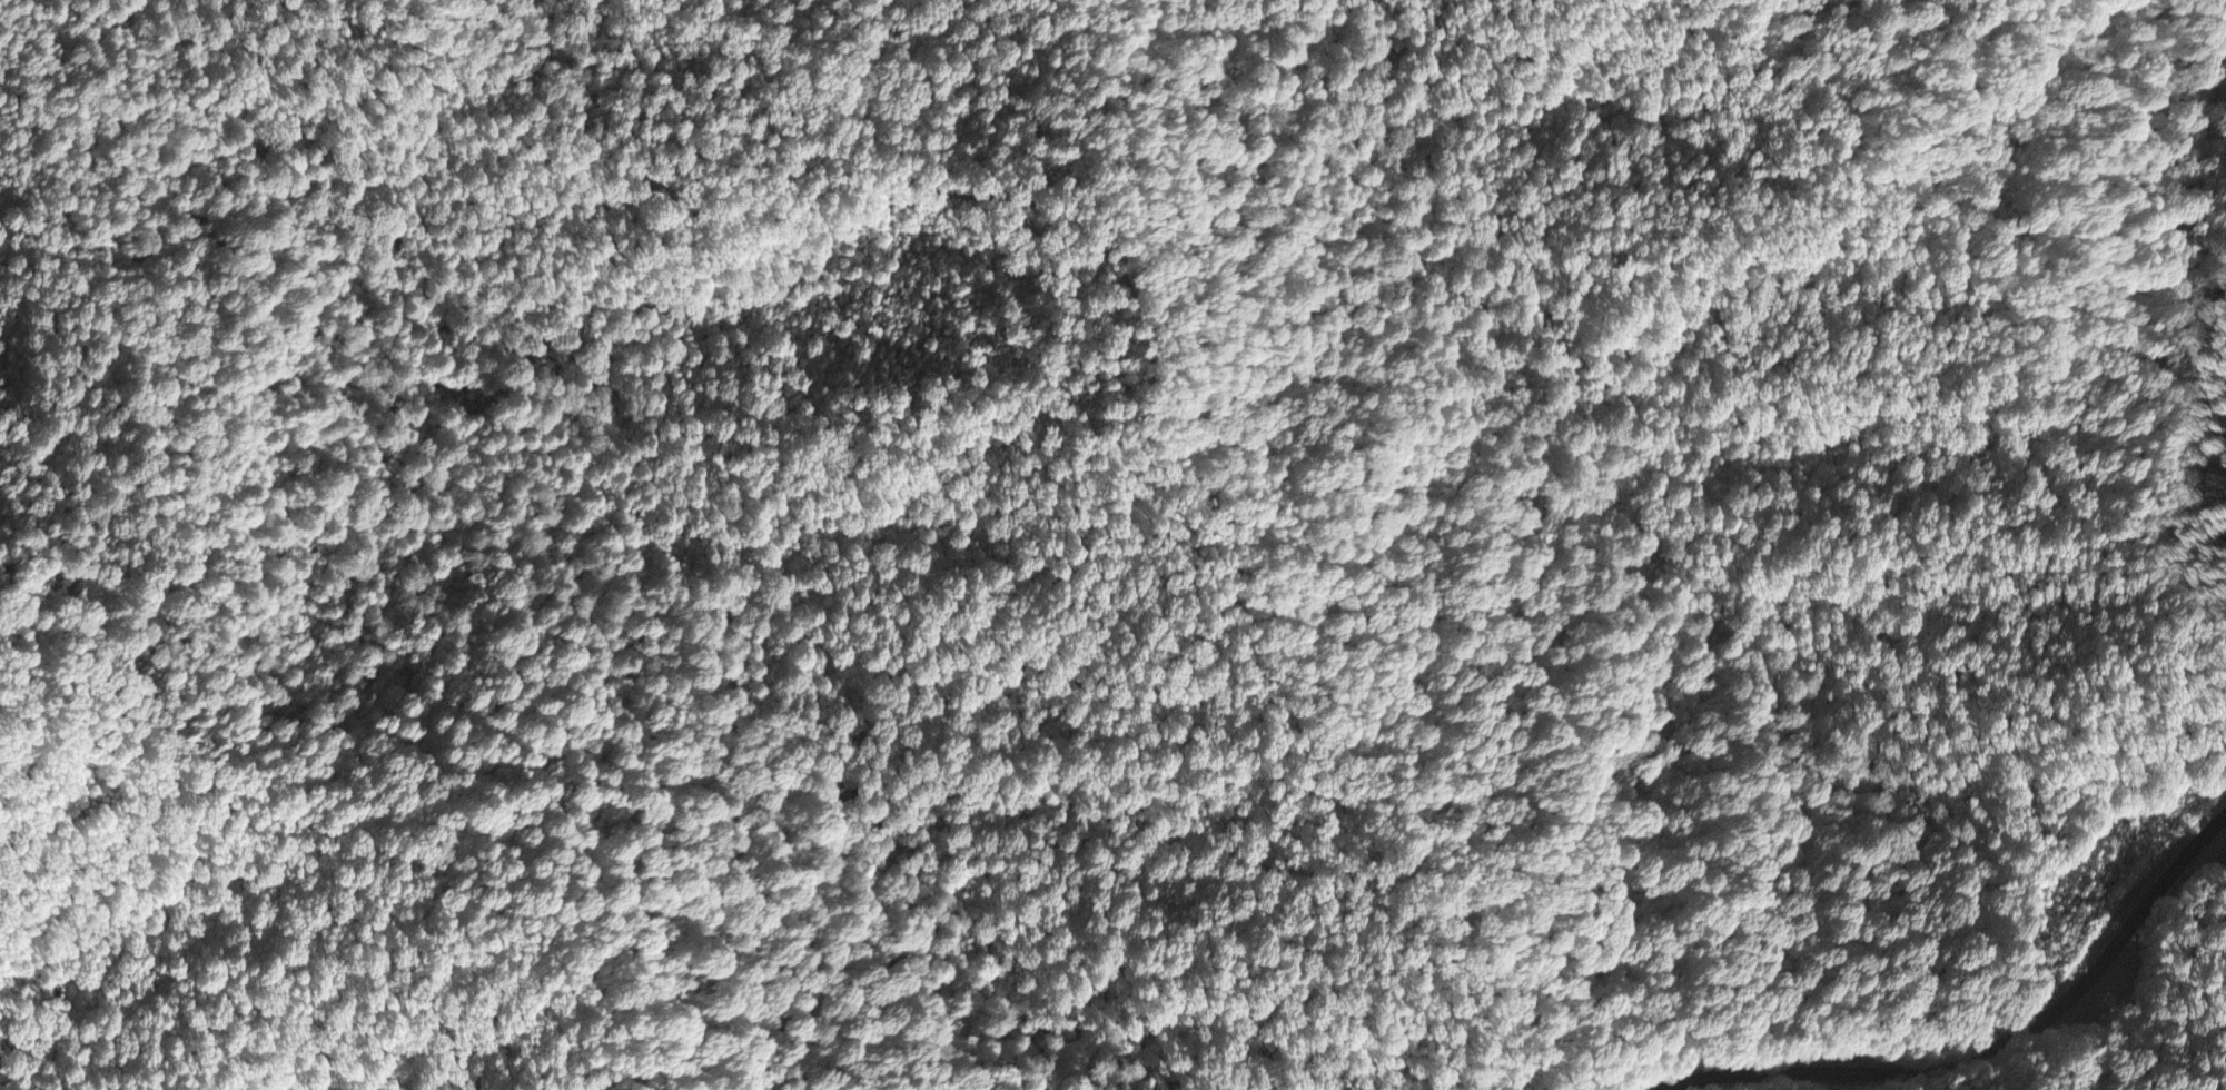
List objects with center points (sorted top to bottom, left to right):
road: (1991, 1051)

